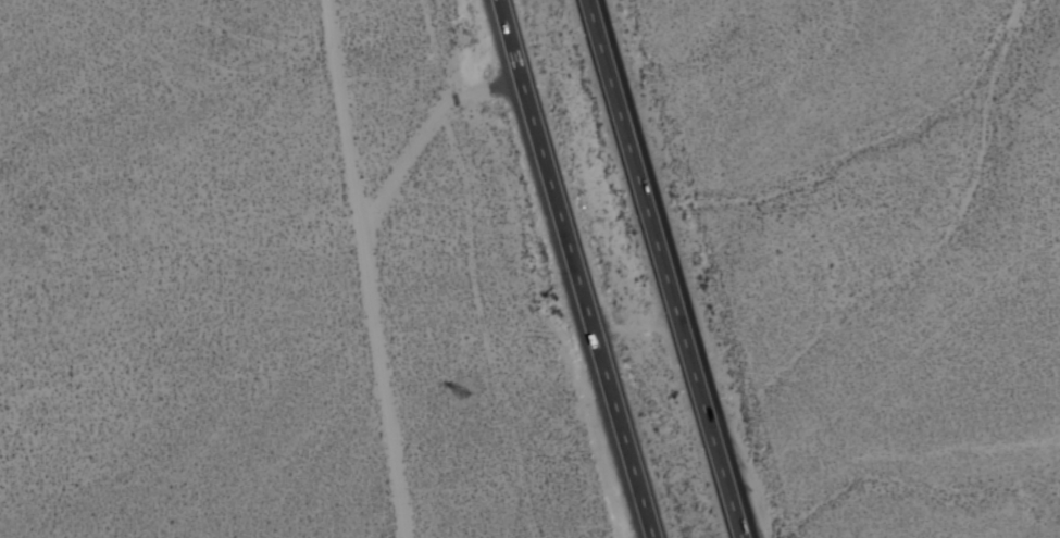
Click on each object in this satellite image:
road: (504, 83)
road: (411, 158)
road: (356, 268)
road: (578, 268)
road: (663, 268)
power tower: (472, 402)

